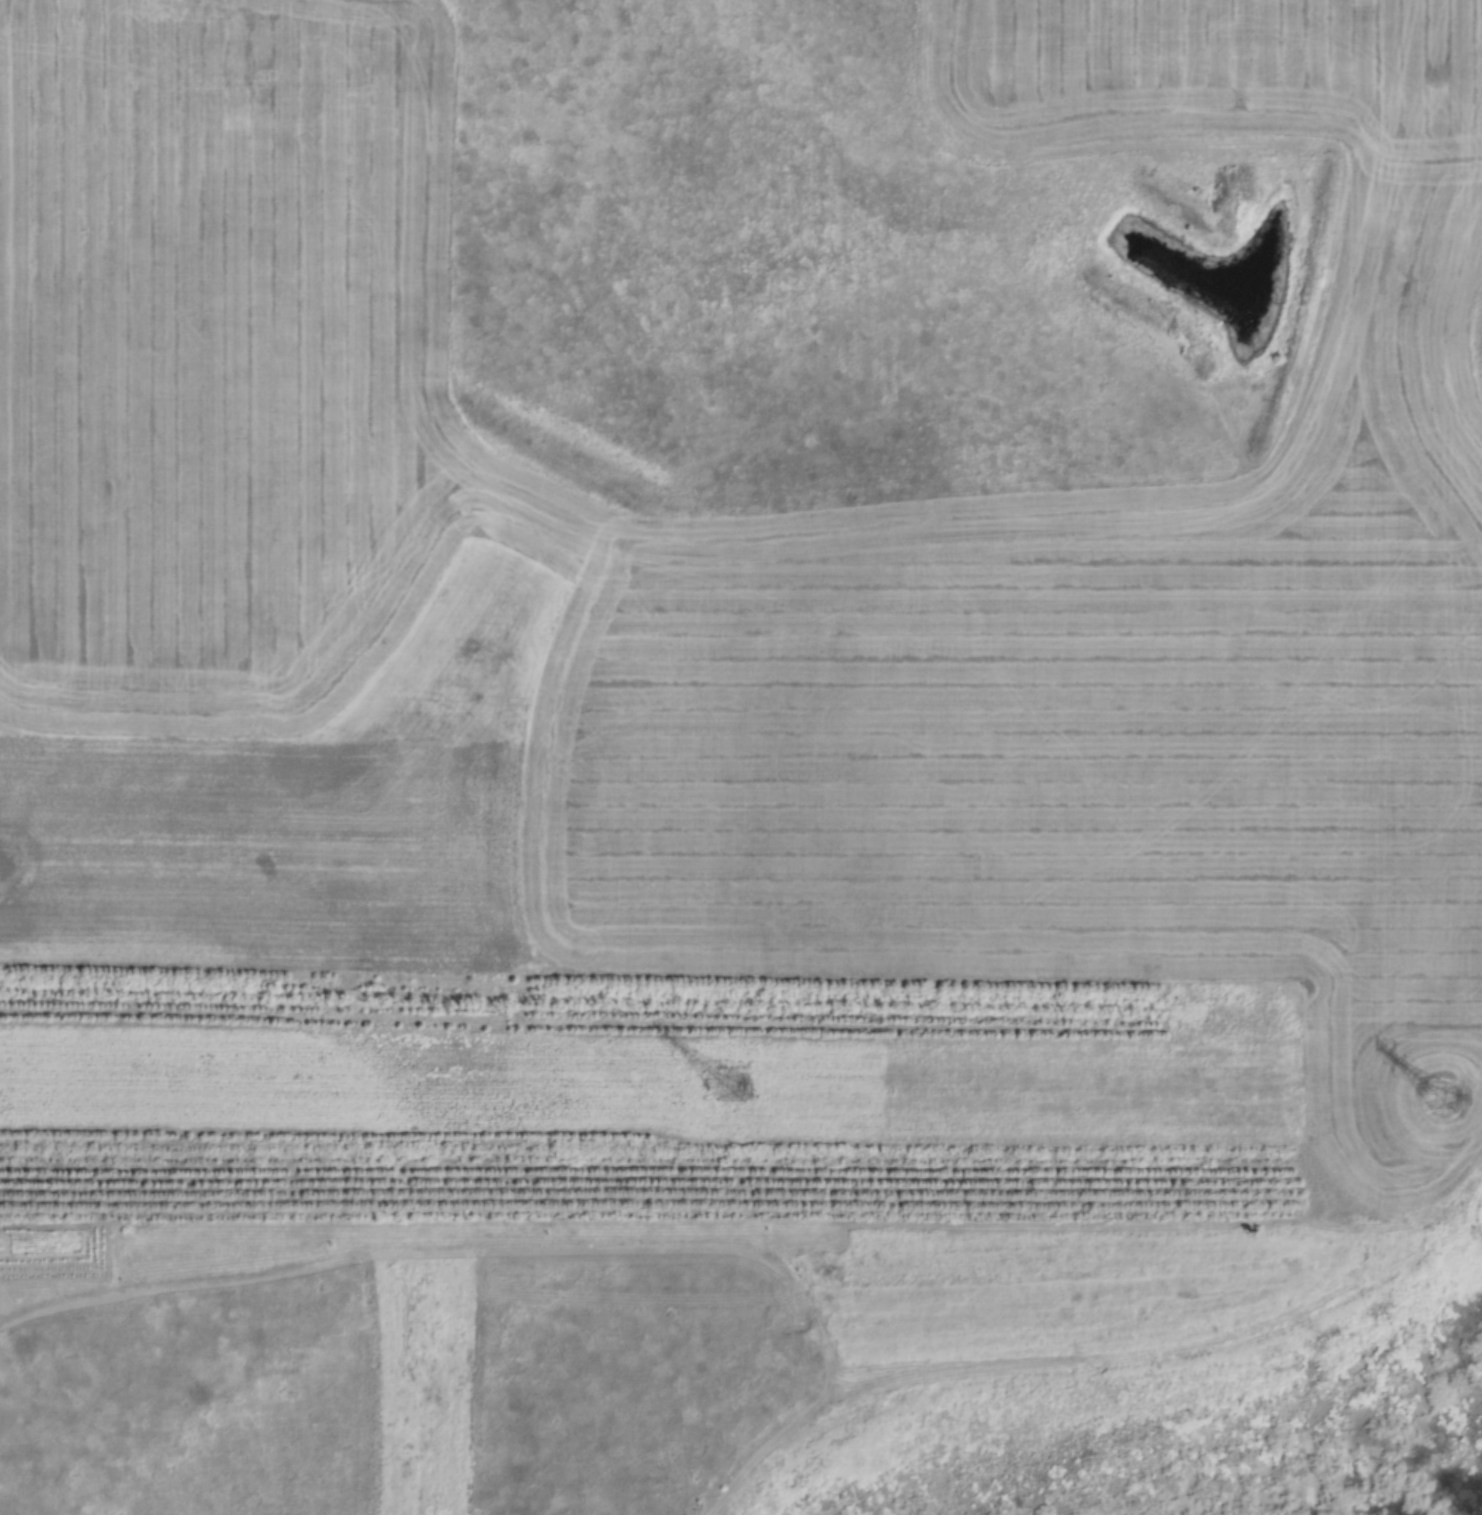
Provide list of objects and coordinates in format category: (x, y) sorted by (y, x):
power tower: (725, 1085)
power tower: (1444, 1096)

